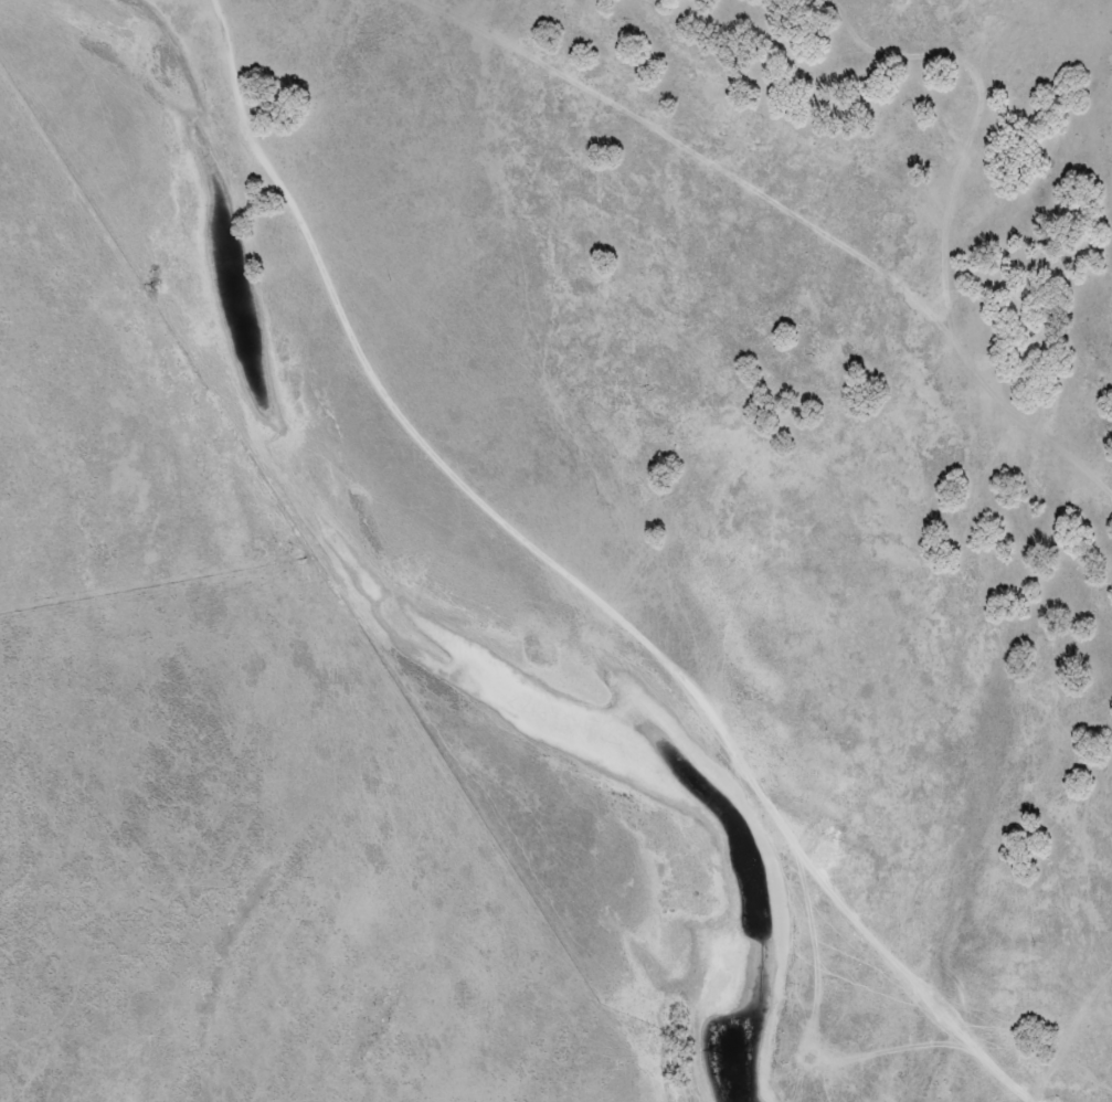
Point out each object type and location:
road: (562, 582)

